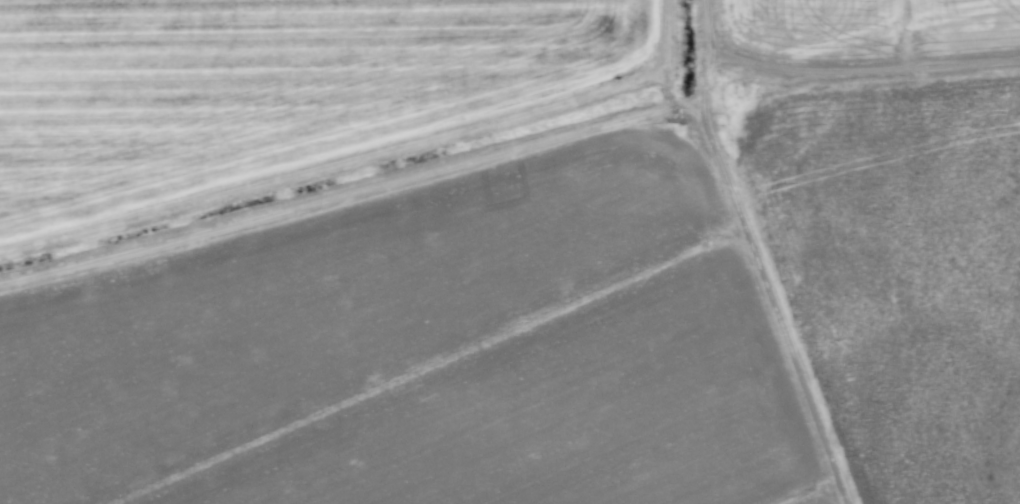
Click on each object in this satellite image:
road: (863, 71)
crop: (510, 252)

